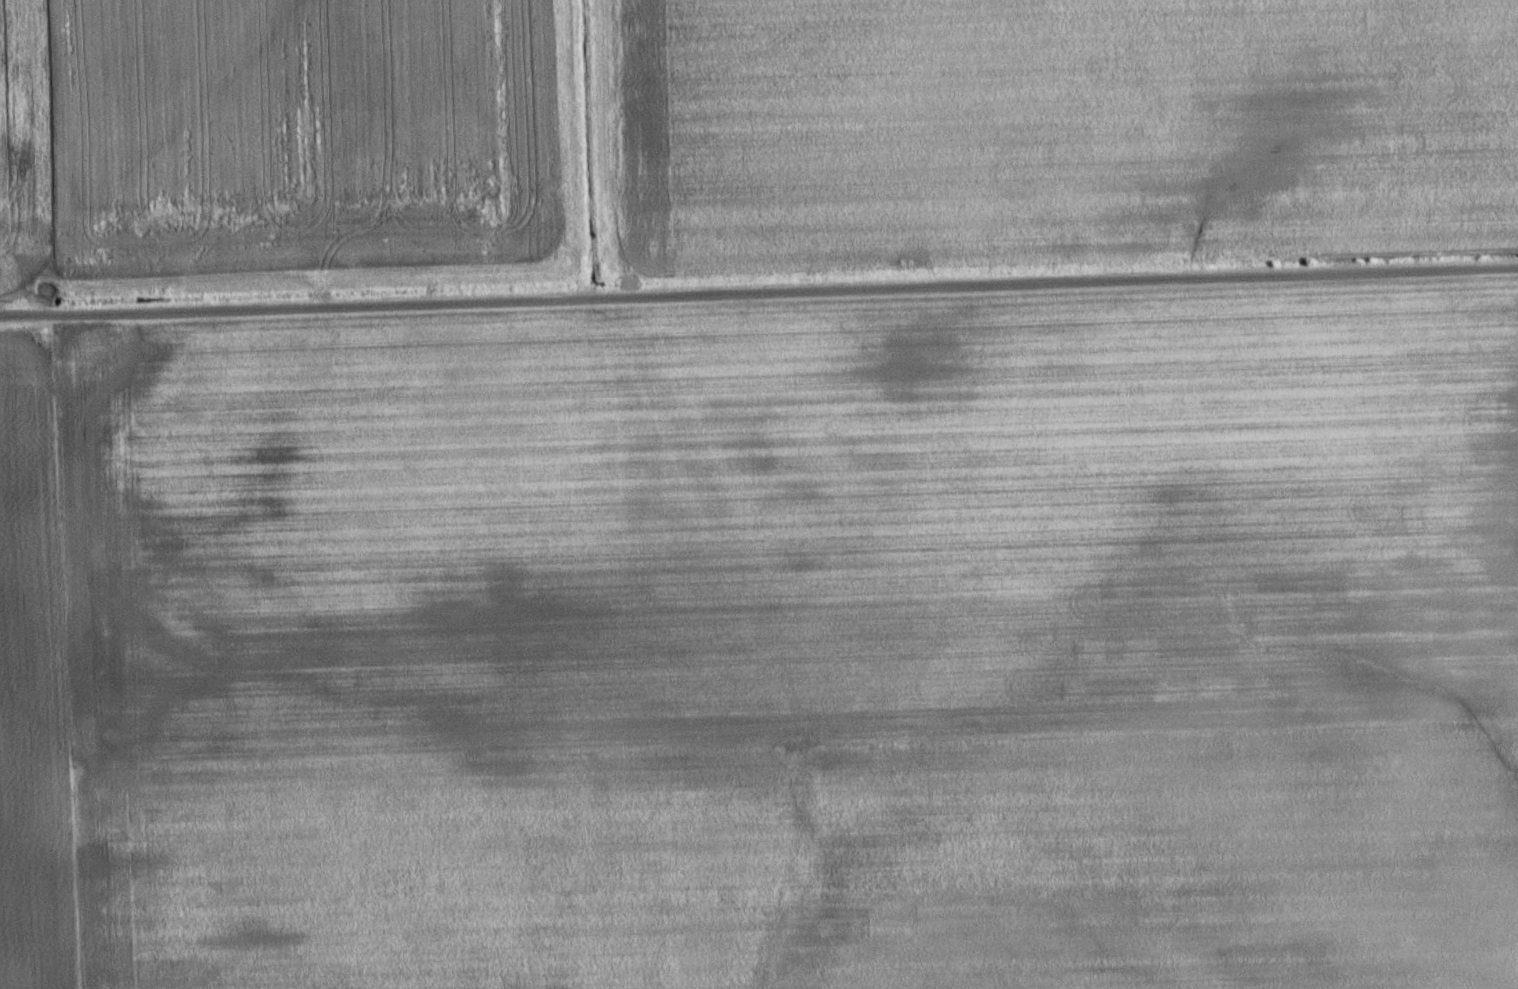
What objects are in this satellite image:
road: (758, 293)

